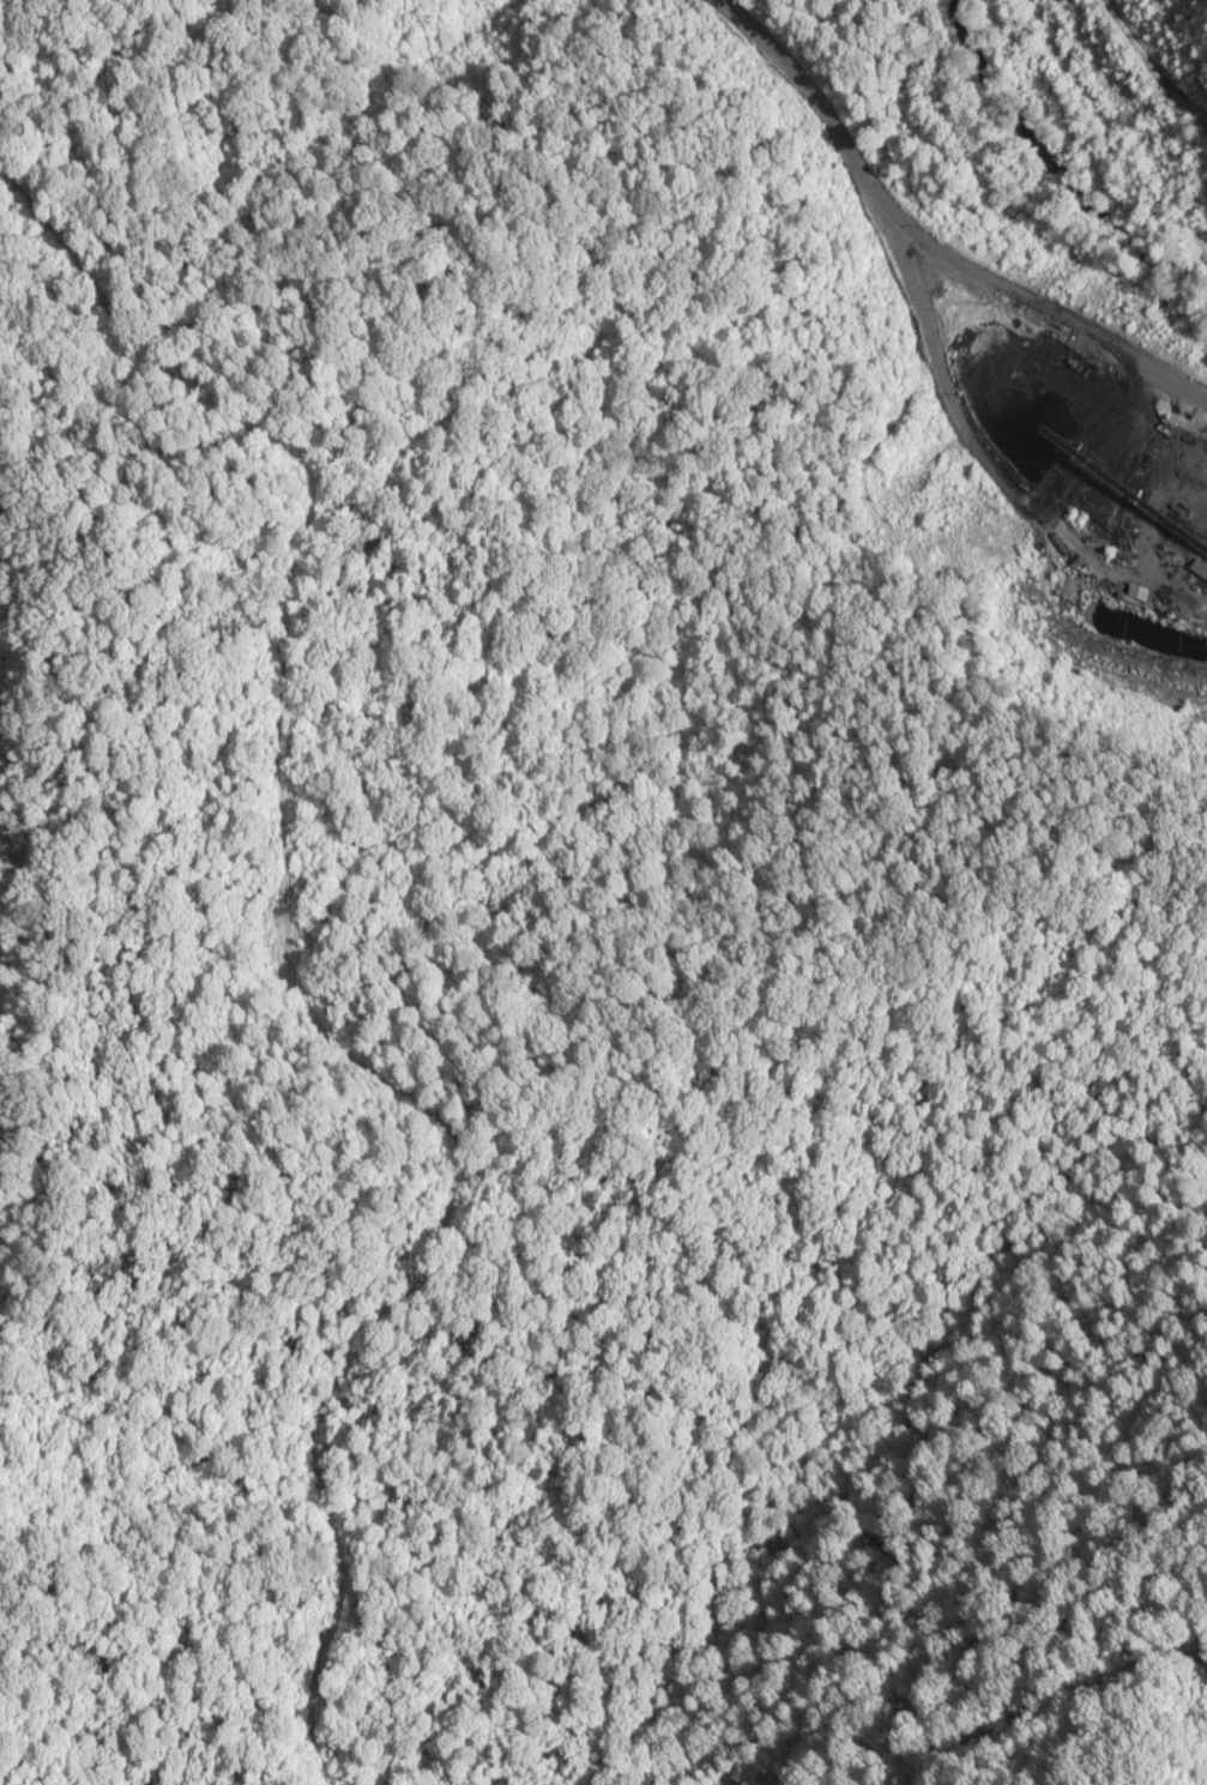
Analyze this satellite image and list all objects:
road: (1108, 153)
road: (917, 355)

